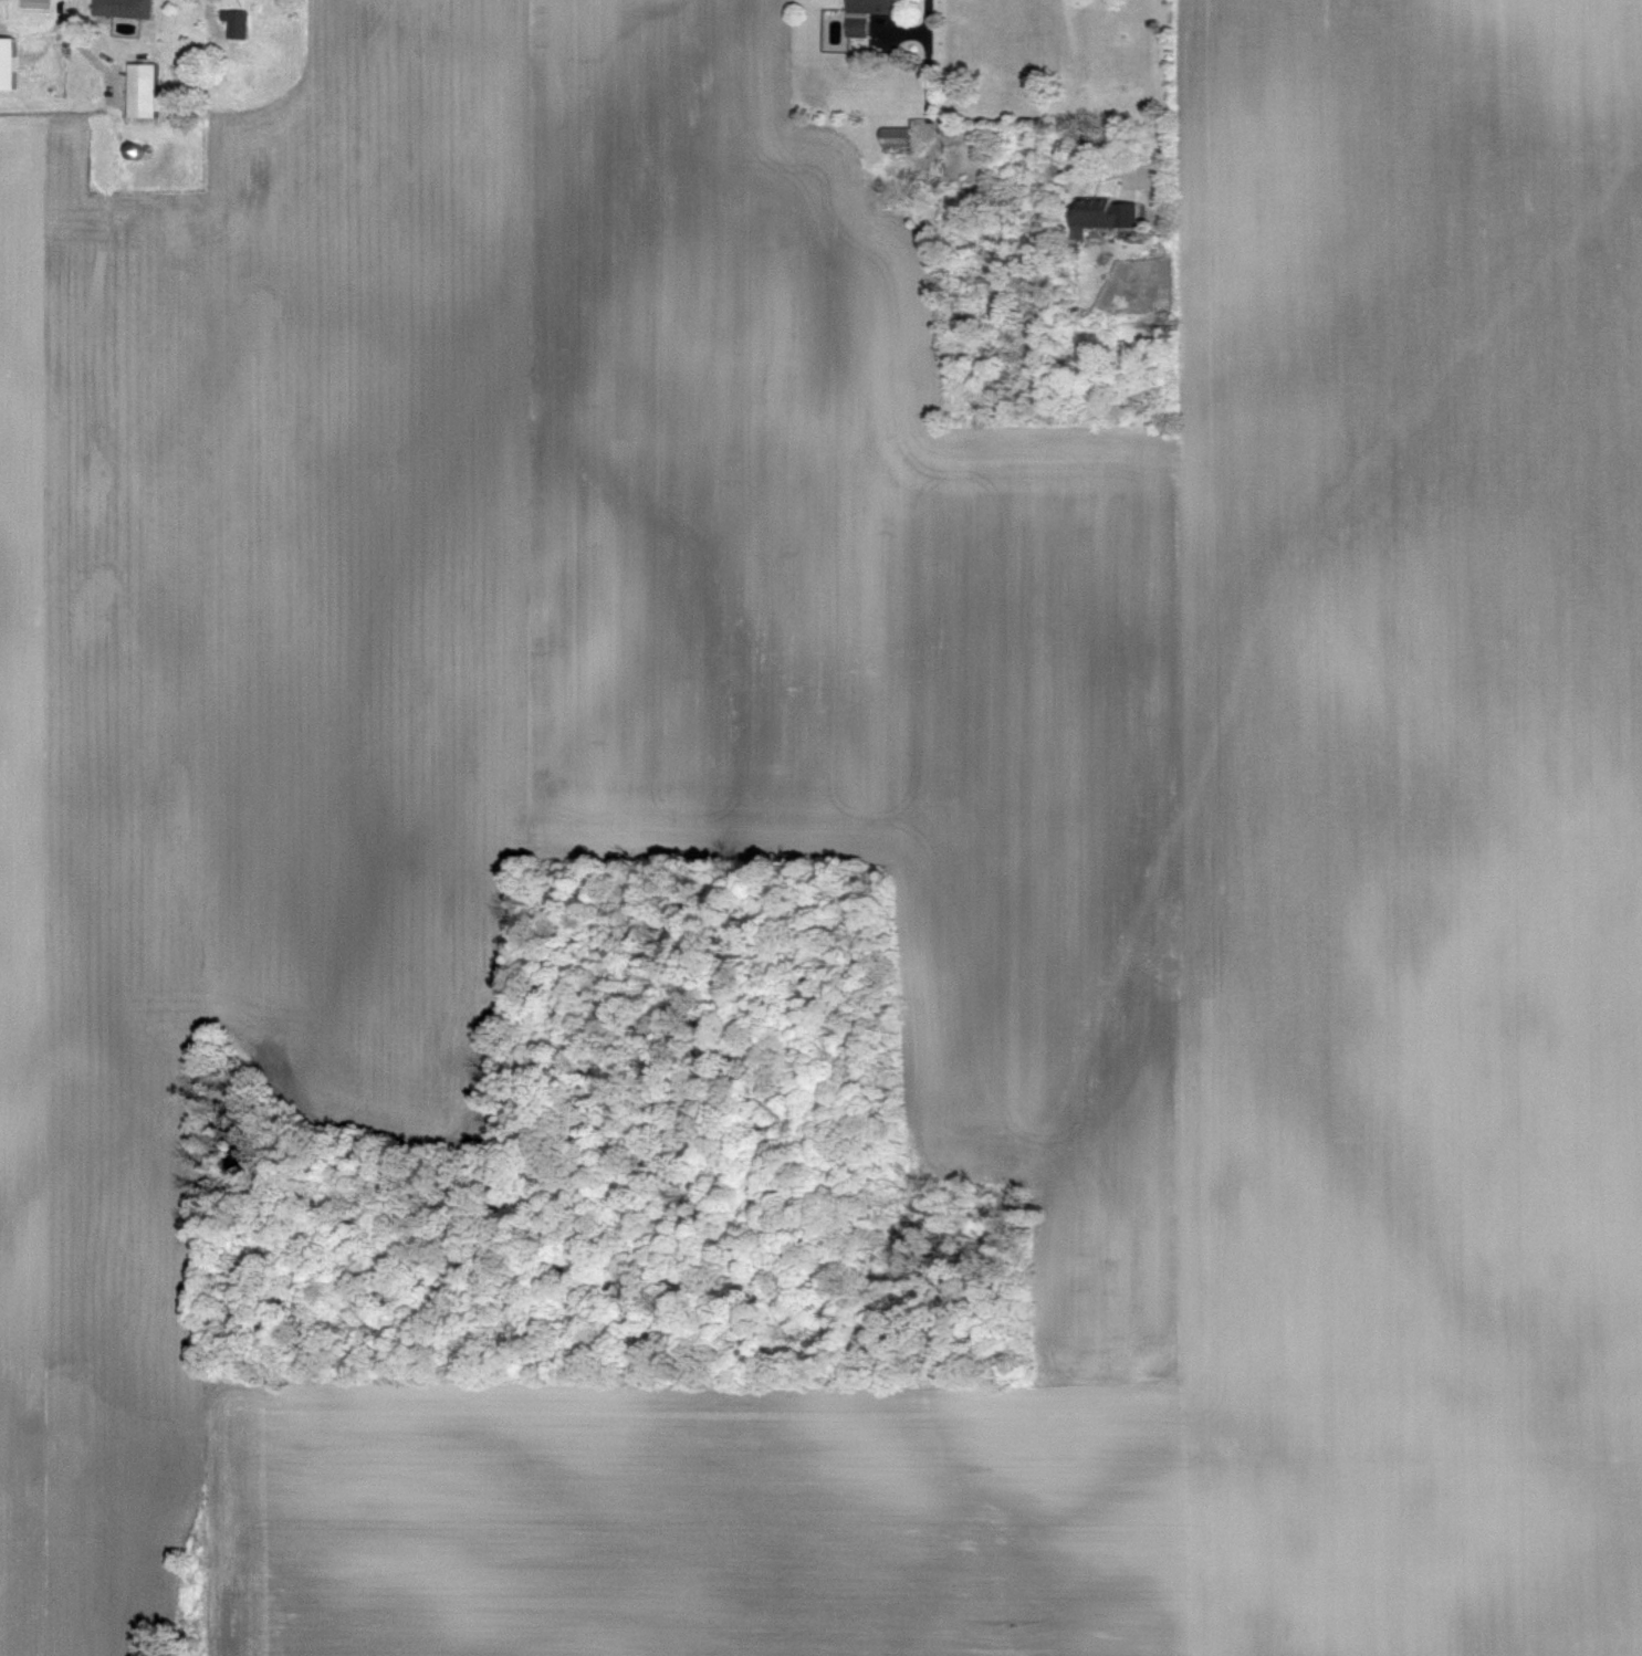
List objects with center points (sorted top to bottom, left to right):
building: (125, 8)
building: (865, 14)
road: (927, 23)
building: (237, 24)
building: (8, 63)
road: (1161, 88)
building: (143, 91)
road: (1075, 91)
building: (892, 138)
building: (1101, 216)

